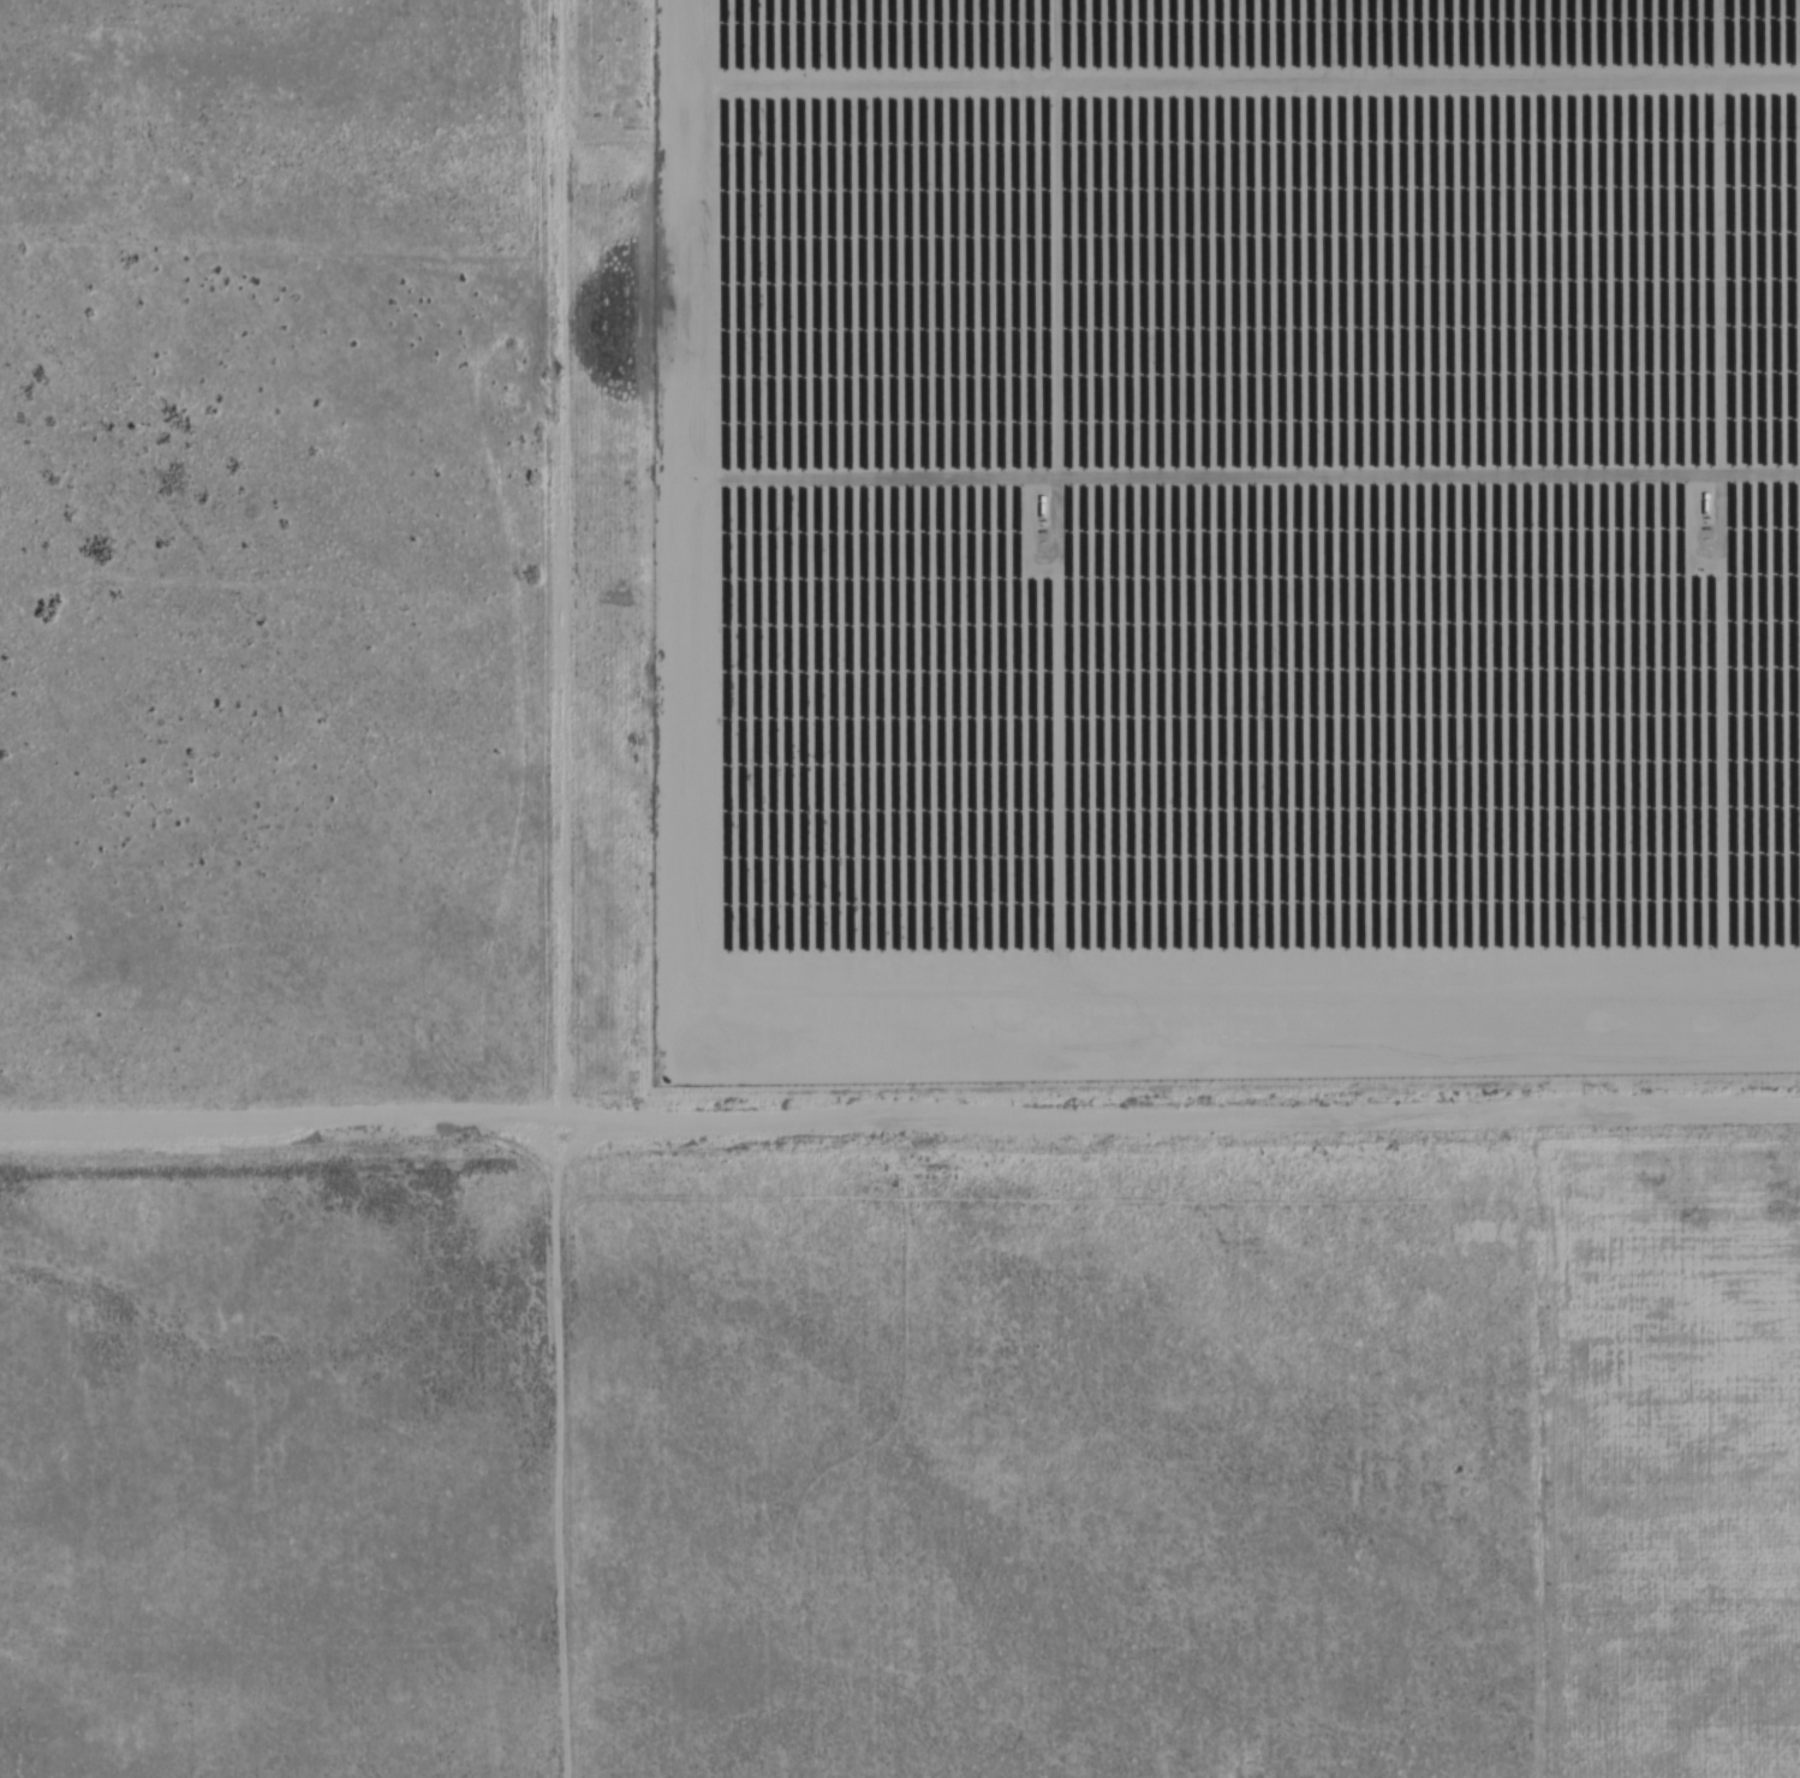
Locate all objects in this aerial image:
solar farm: (1230, 536)
road: (558, 569)
road: (900, 1133)
road: (560, 1458)

